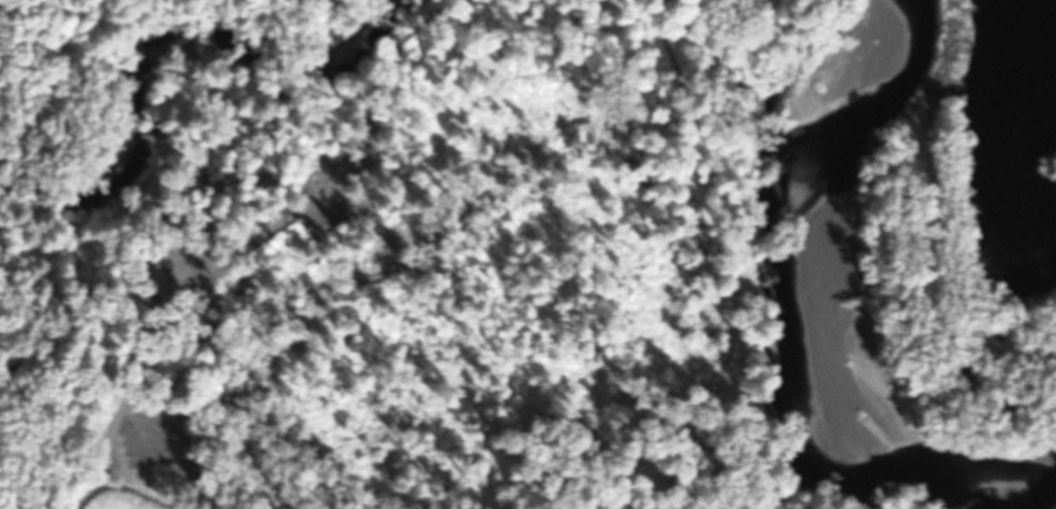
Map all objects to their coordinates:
quarry: (816, 14)
river: (835, 164)
quarry: (967, 170)
river: (959, 397)

